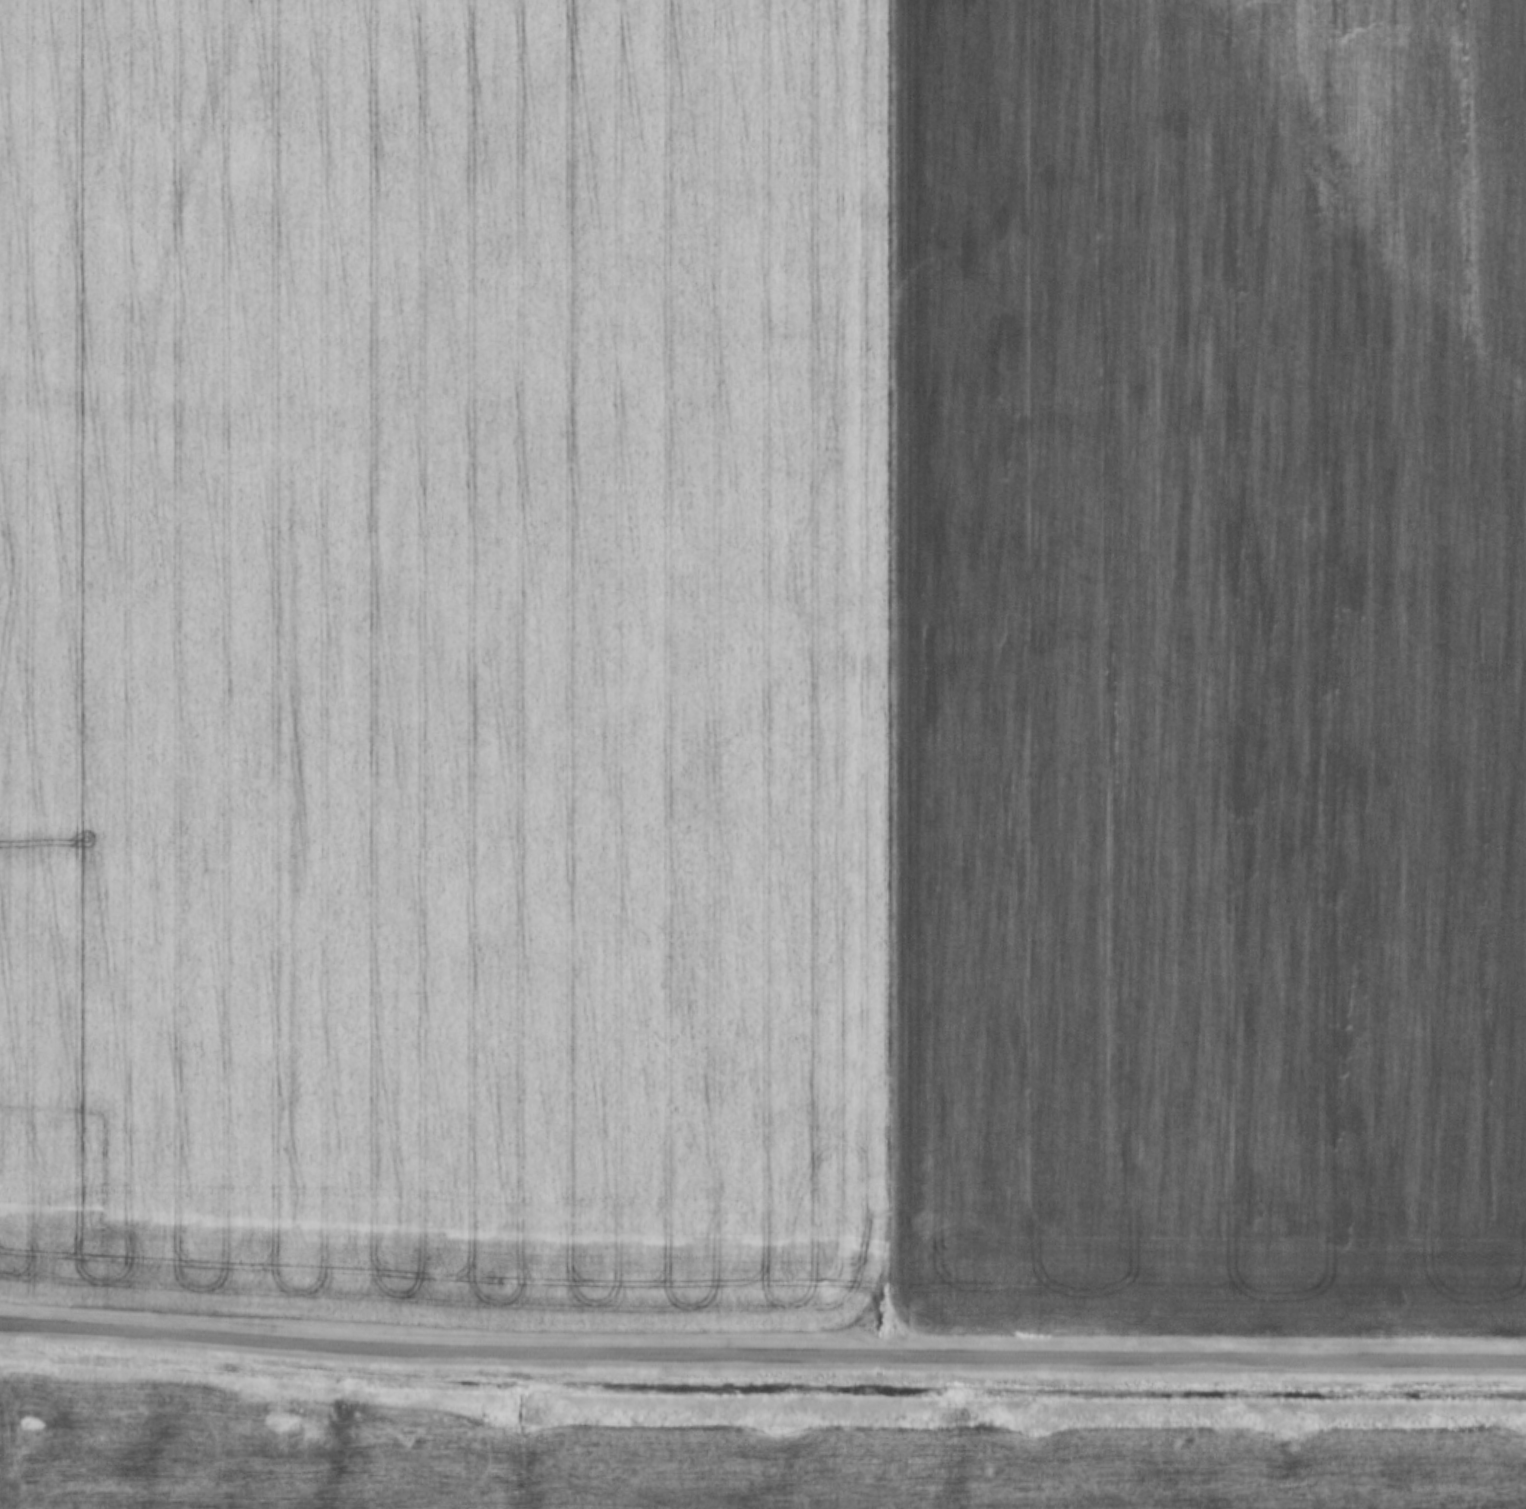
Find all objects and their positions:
road: (762, 1359)

